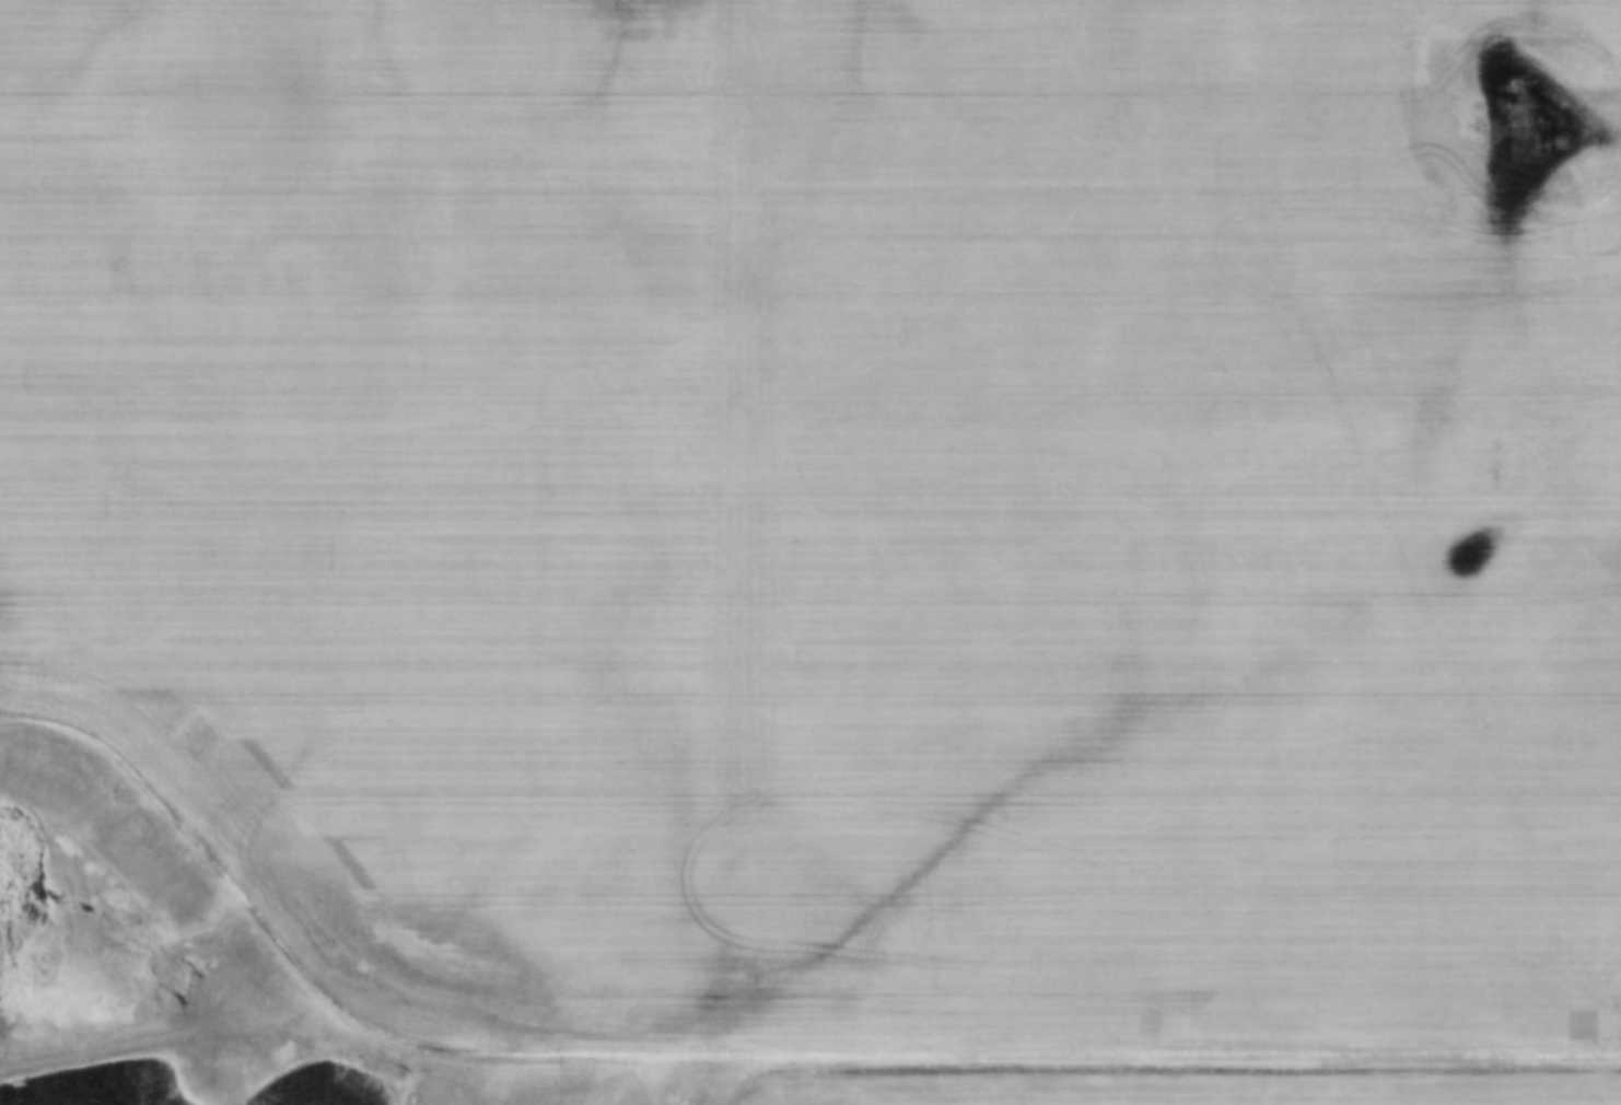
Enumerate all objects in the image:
dam: (102, 1040)
road: (738, 1050)

